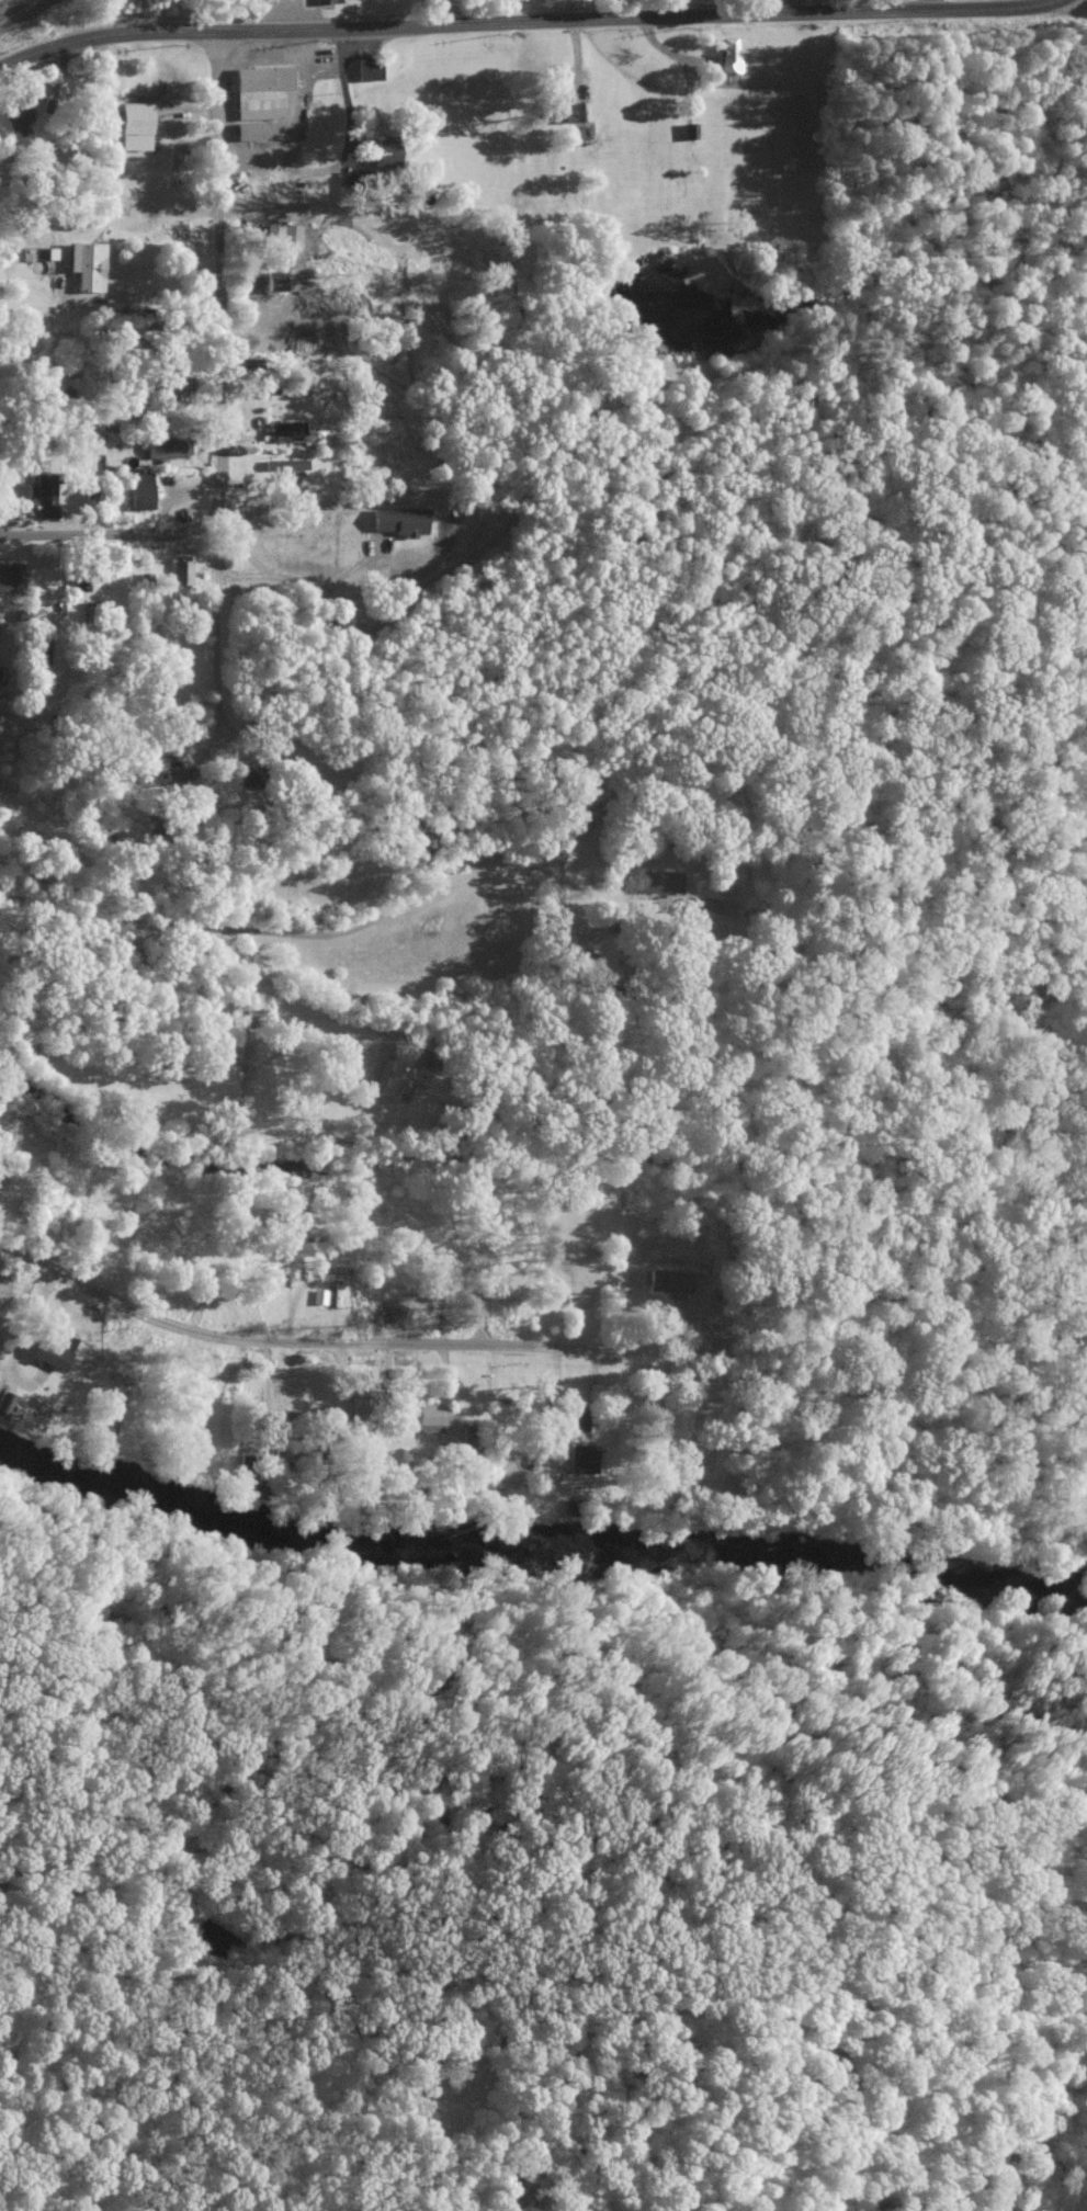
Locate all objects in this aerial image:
railway: (13, 7)
road: (1079, 7)
road: (1079, 7)
road: (529, 21)
building: (726, 56)
building: (367, 70)
building: (257, 91)
building: (554, 107)
building: (19, 120)
building: (132, 126)
building: (242, 131)
building: (688, 131)
building: (279, 235)
building: (39, 251)
building: (90, 264)
building: (268, 281)
road: (217, 384)
building: (298, 430)
building: (168, 446)
building: (286, 463)
building: (43, 485)
building: (145, 489)
road: (101, 533)
building: (183, 569)
building: (11, 575)
building: (92, 609)
building: (657, 881)
road: (319, 931)
road: (280, 996)
building: (390, 1076)
building: (663, 1281)
road: (342, 1345)
building: (47, 1352)
building: (2, 1403)
building: (428, 1417)
building: (575, 1418)
building: (576, 1458)
river: (535, 1549)
road: (613, 1946)

